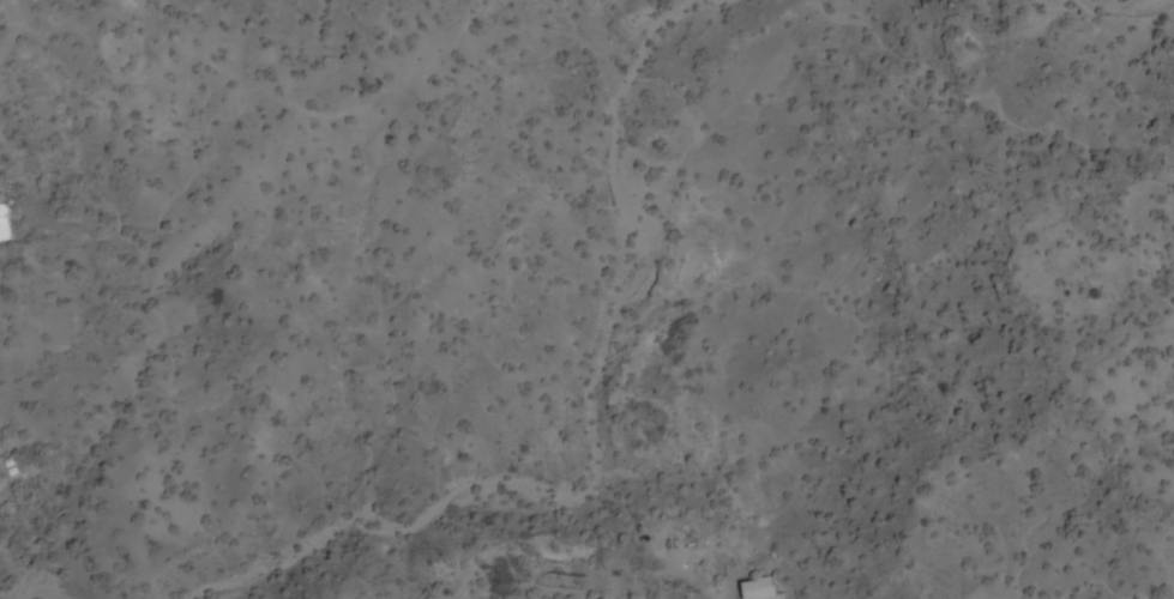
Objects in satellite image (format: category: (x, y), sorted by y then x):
building: (775, 597)

